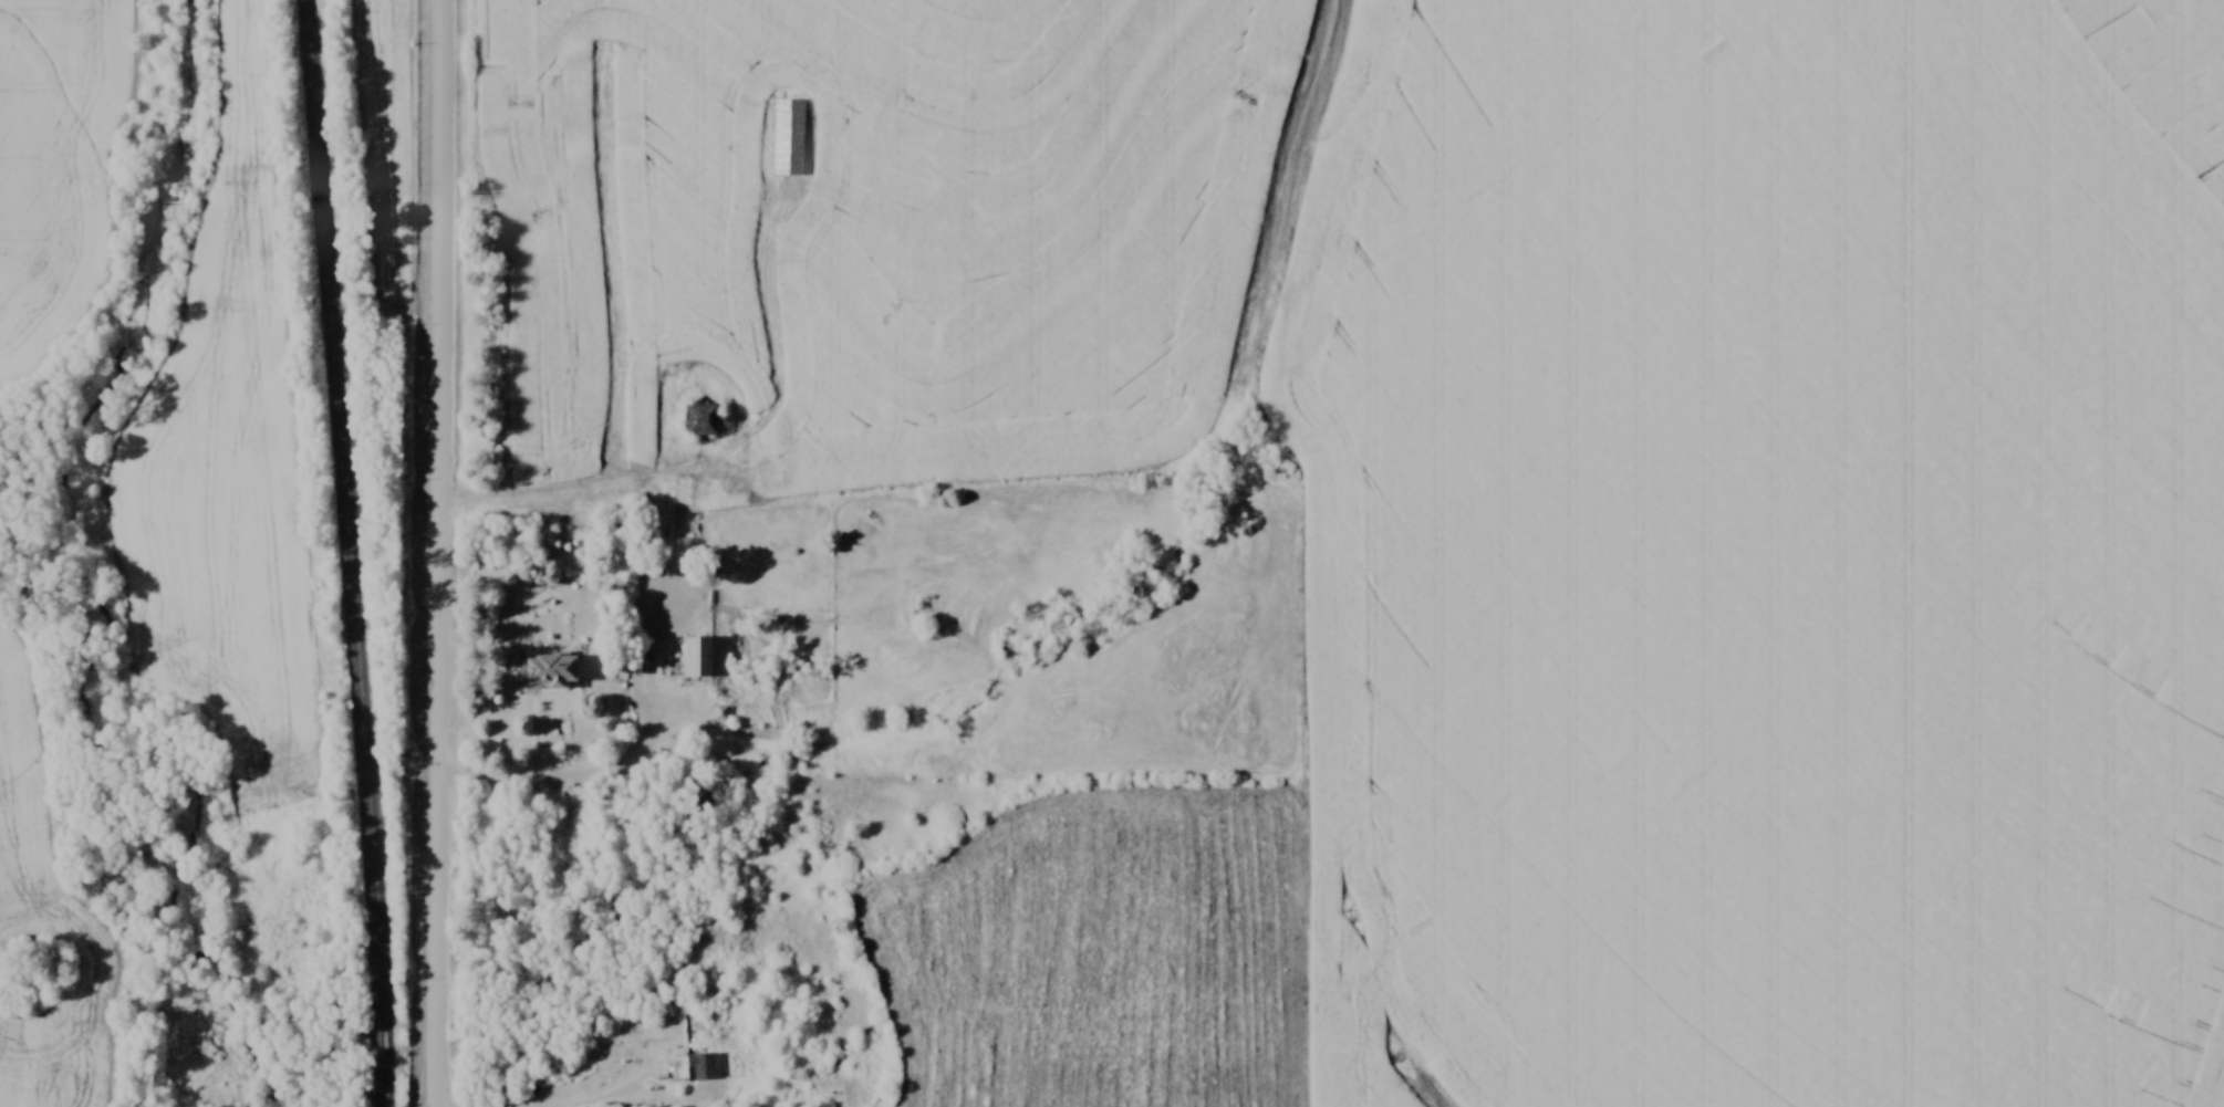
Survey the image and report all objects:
building: (788, 136)
building: (700, 418)
road: (583, 490)
railway: (347, 553)
road: (443, 553)
building: (704, 656)
building: (634, 658)
building: (547, 670)
road: (590, 779)
building: (702, 1066)
road: (631, 1092)

